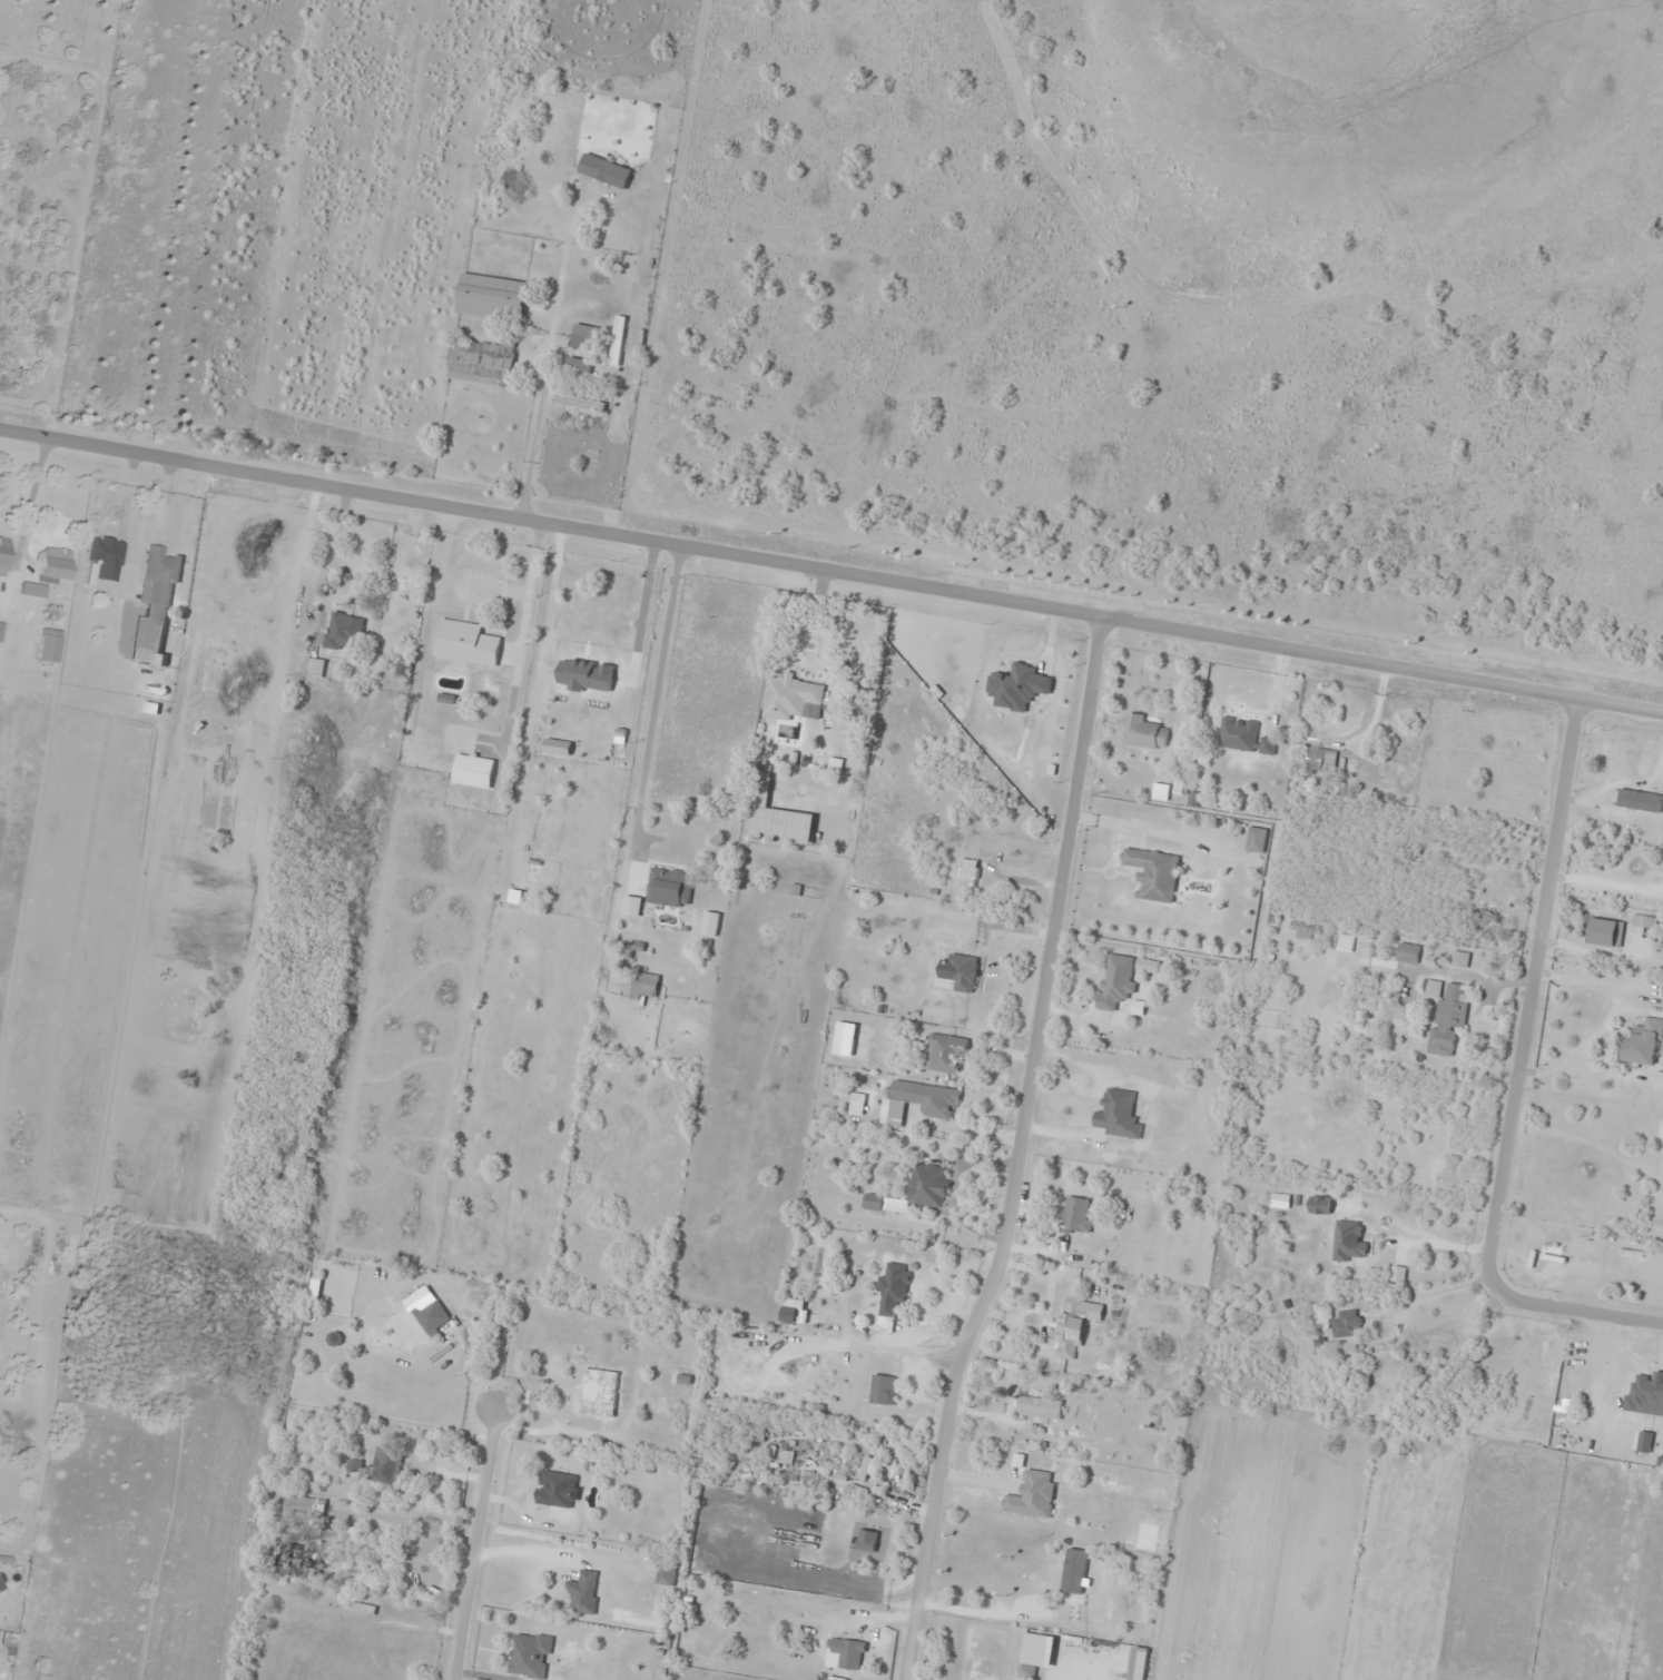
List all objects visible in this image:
building: (493, 296)
building: (584, 335)
building: (618, 339)
building: (483, 360)
building: (579, 364)
building: (581, 401)
building: (2, 554)
building: (105, 557)
building: (52, 564)
road: (831, 571)
building: (244, 584)
building: (33, 589)
building: (155, 605)
building: (1, 630)
building: (345, 630)
building: (466, 642)
building: (49, 644)
building: (315, 666)
building: (1008, 683)
building: (794, 698)
building: (1144, 731)
building: (1244, 735)
building: (264, 743)
building: (1321, 759)
building: (1615, 769)
building: (474, 770)
building: (1160, 791)
building: (778, 812)
building: (1257, 839)
building: (968, 871)
building: (1154, 872)
building: (670, 887)
building: (632, 905)
building: (1644, 920)
building: (711, 923)
building: (1605, 931)
building: (1346, 941)
building: (1408, 952)
building: (1460, 958)
building: (964, 971)
building: (1116, 981)
building: (646, 985)
building: (1445, 1014)
building: (1256, 1039)
building: (1644, 1042)
building: (944, 1051)
road: (1513, 1077)
building: (918, 1101)
building: (1119, 1115)
road: (1017, 1152)
building: (915, 1190)
building: (1320, 1204)
building: (1076, 1214)
building: (1349, 1239)
building: (1549, 1249)
building: (893, 1294)
building: (796, 1310)
building: (434, 1315)
building: (1075, 1323)
building: (1347, 1323)
building: (884, 1389)
building: (600, 1392)
building: (1646, 1395)
building: (571, 1401)
building: (1041, 1406)
building: (355, 1464)
building: (386, 1465)
building: (559, 1489)
building: (1033, 1494)
building: (305, 1506)
building: (867, 1540)
road: (474, 1544)
building: (299, 1555)
building: (1016, 1573)
building: (1074, 1573)
building: (667, 1574)
building: (584, 1591)
building: (362, 1607)
building: (849, 1652)
building: (1037, 1653)
building: (531, 1654)

